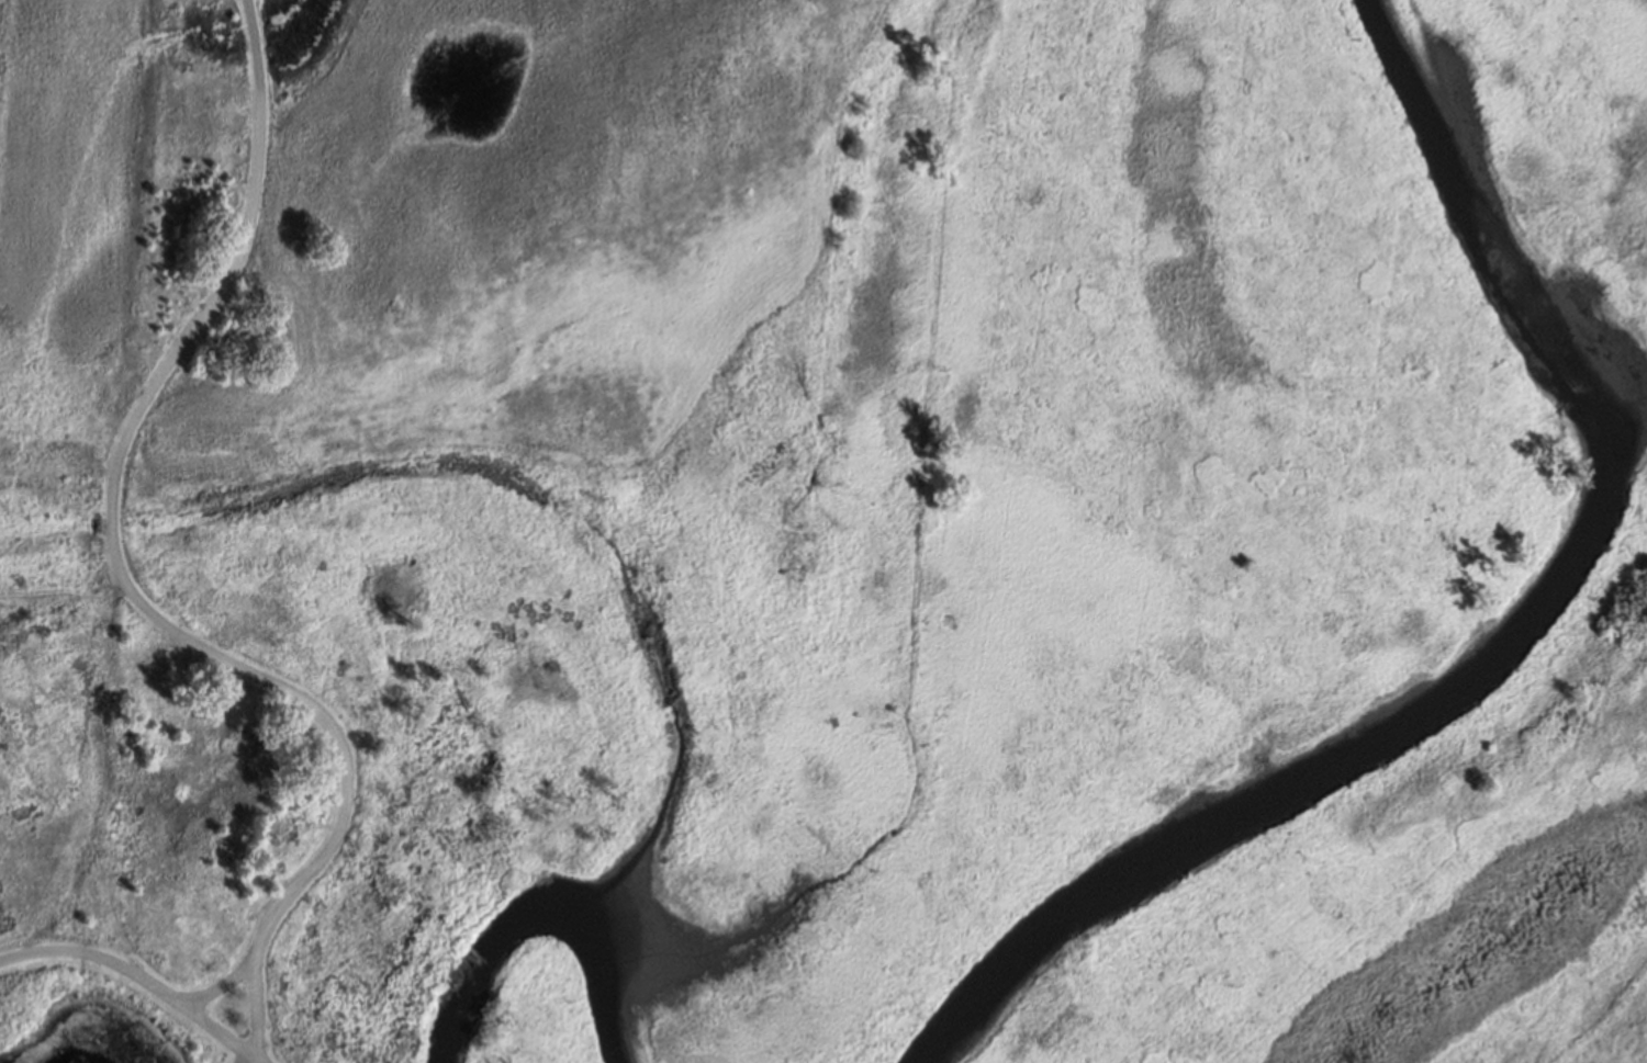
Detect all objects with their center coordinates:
road: (124, 583)
river: (1513, 630)
river: (549, 912)
road: (138, 974)
road: (220, 985)
road: (251, 1061)
road: (258, 1061)

